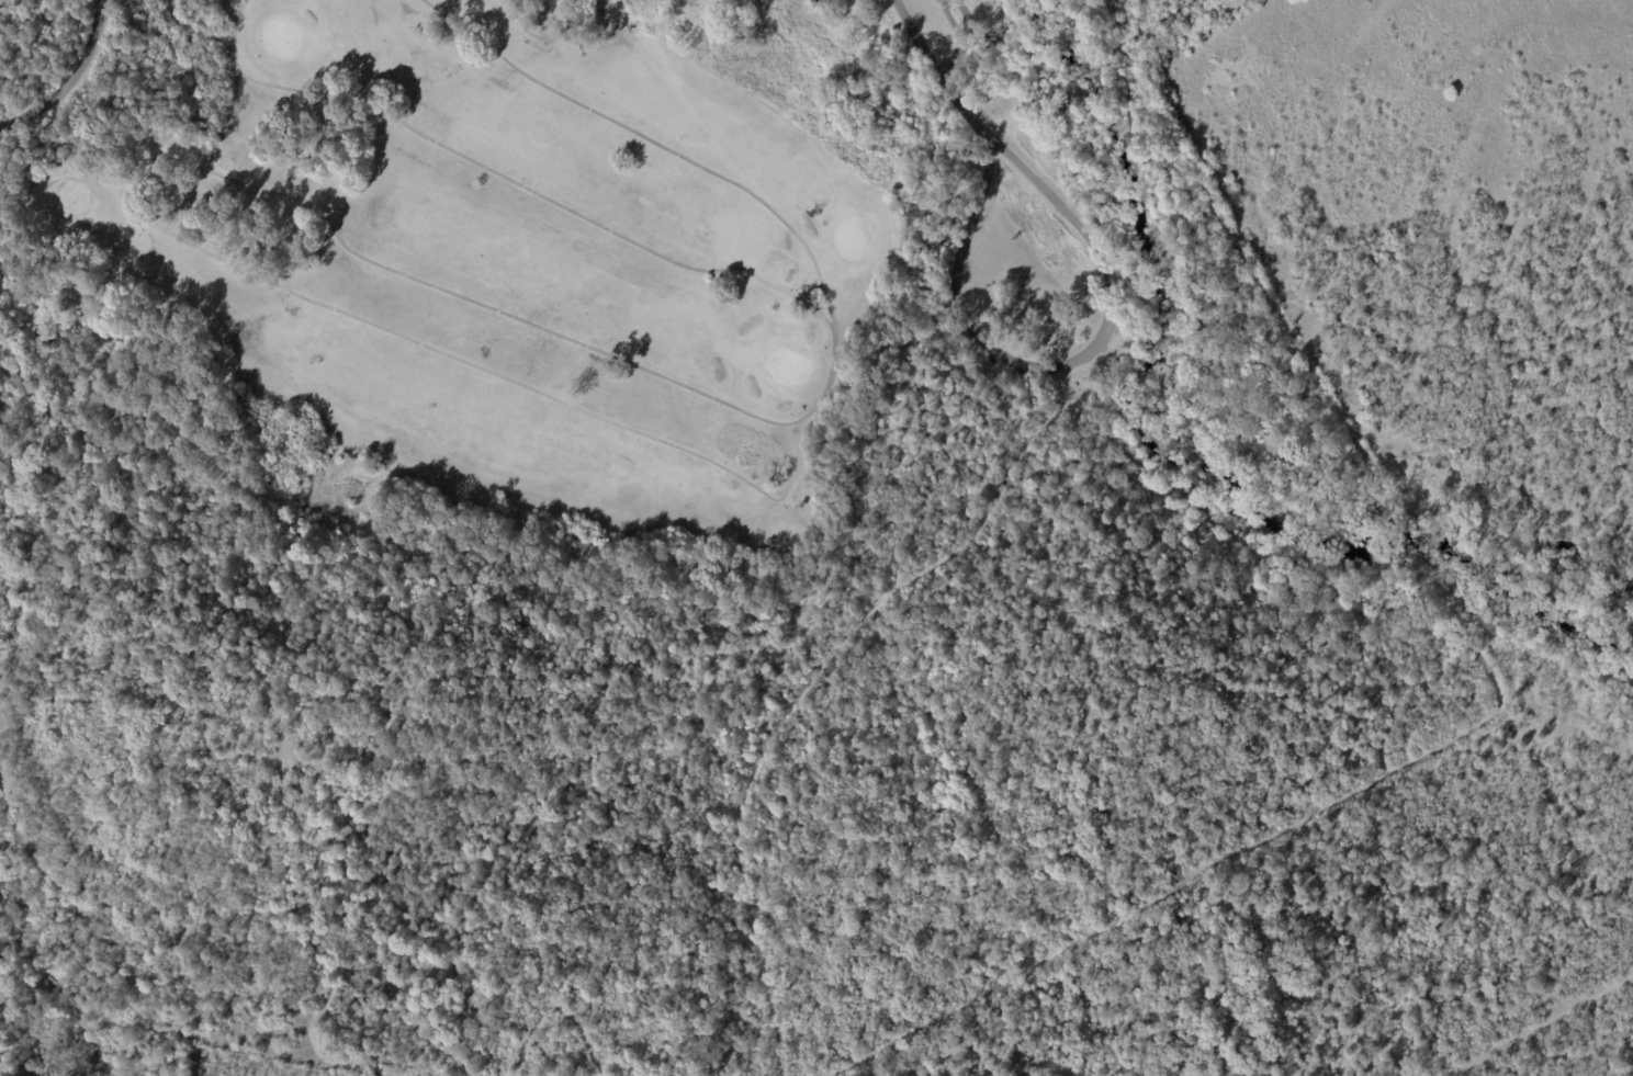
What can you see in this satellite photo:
road: (958, 38)
road: (935, 71)
road: (68, 78)
road: (1056, 367)
park: (688, 525)

